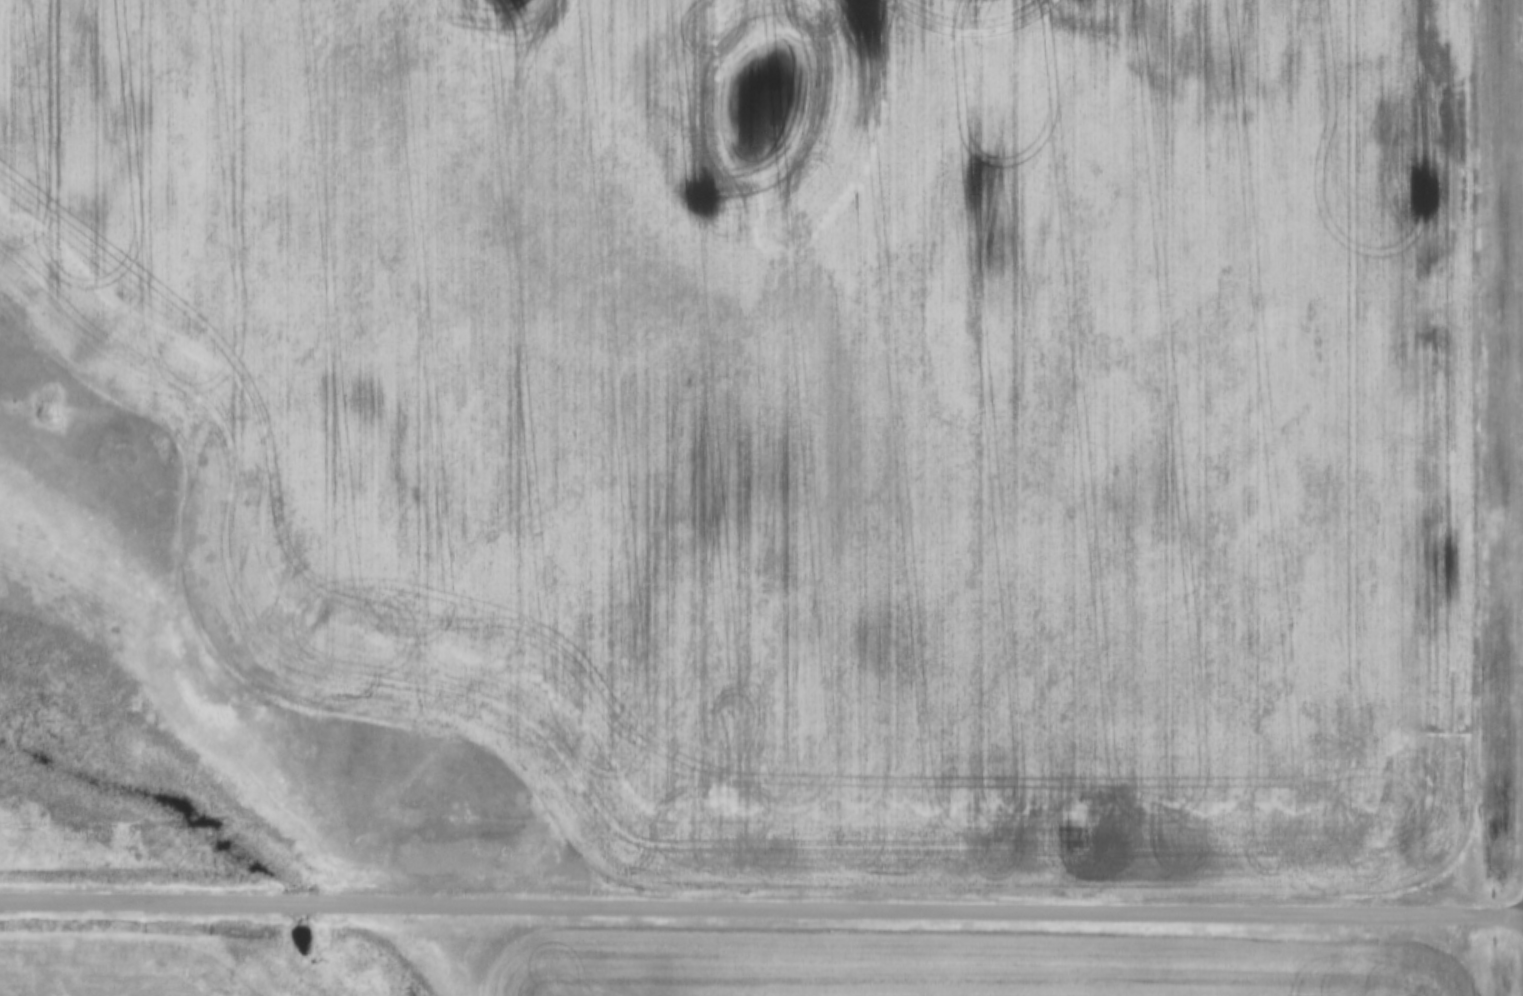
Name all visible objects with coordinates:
road: (761, 902)

